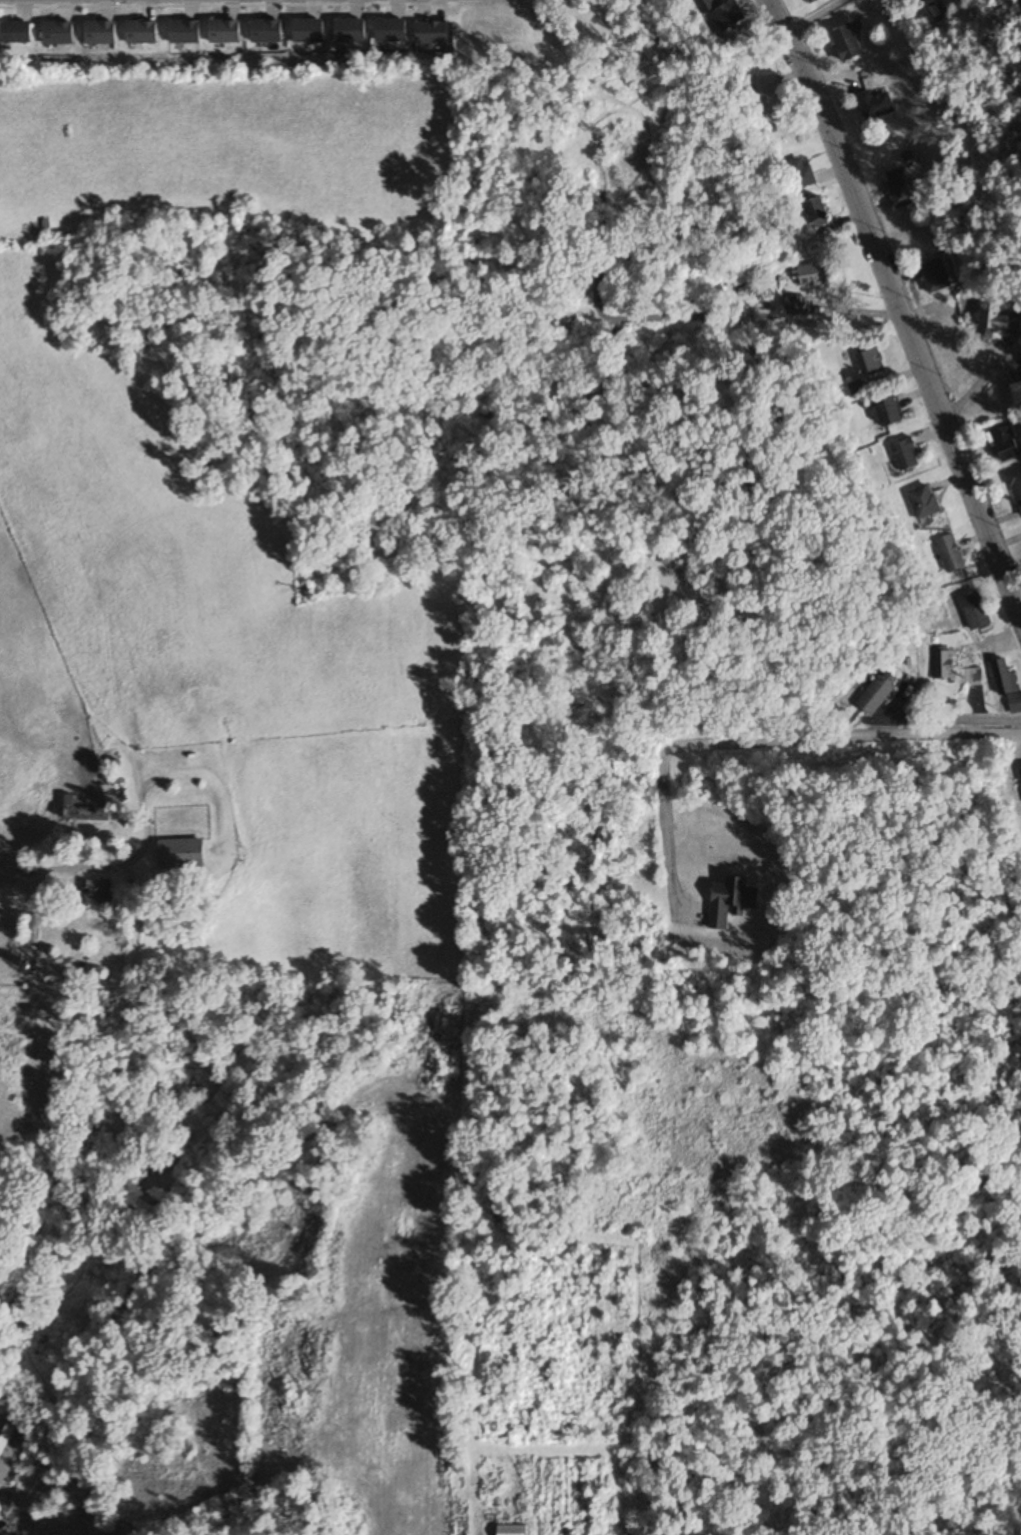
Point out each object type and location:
building: (812, 1)
building: (705, 5)
building: (728, 16)
building: (266, 30)
building: (308, 30)
building: (349, 30)
building: (390, 30)
building: (184, 31)
building: (224, 31)
building: (16, 32)
building: (58, 32)
building: (100, 32)
building: (142, 32)
building: (432, 32)
building: (847, 43)
building: (771, 94)
building: (875, 105)
building: (801, 173)
building: (900, 188)
building: (819, 212)
building: (818, 275)
building: (936, 276)
building: (796, 306)
road: (896, 308)
building: (994, 319)
building: (870, 362)
building: (1017, 393)
building: (890, 413)
building: (1005, 444)
building: (906, 455)
building: (1016, 486)
building: (925, 503)
building: (951, 554)
building: (976, 611)
building: (944, 666)
building: (1004, 677)
building: (880, 692)
road: (762, 745)
building: (84, 812)
building: (182, 854)
road: (60, 867)
building: (97, 892)
building: (732, 901)
building: (32, 929)
building: (8, 1448)

